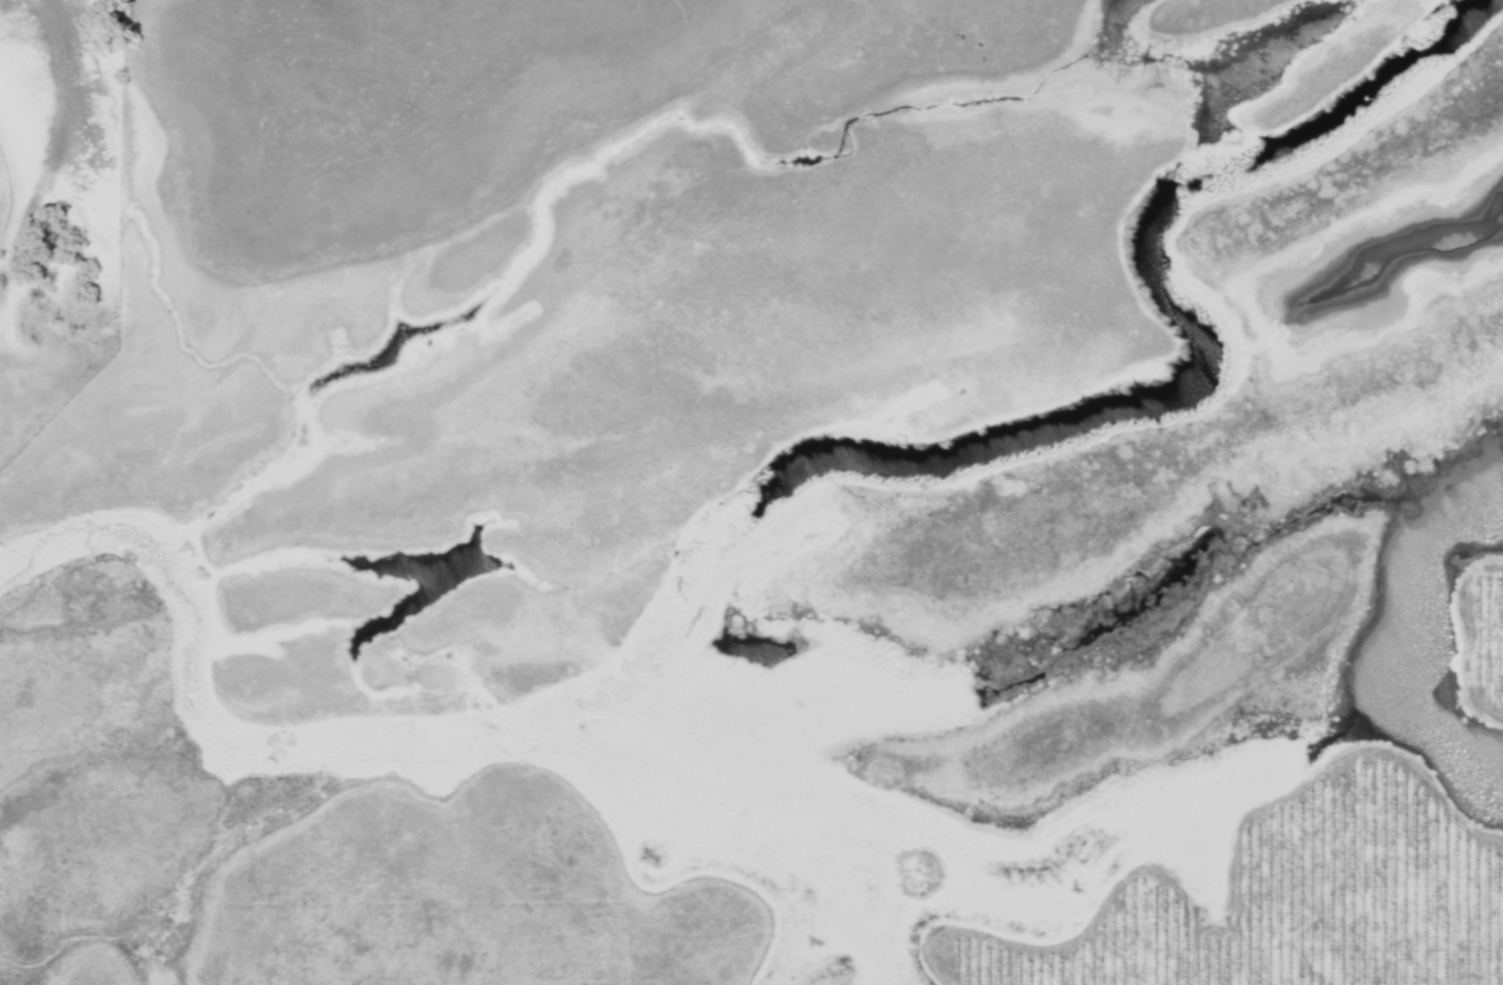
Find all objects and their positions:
crop: (38, 269)

